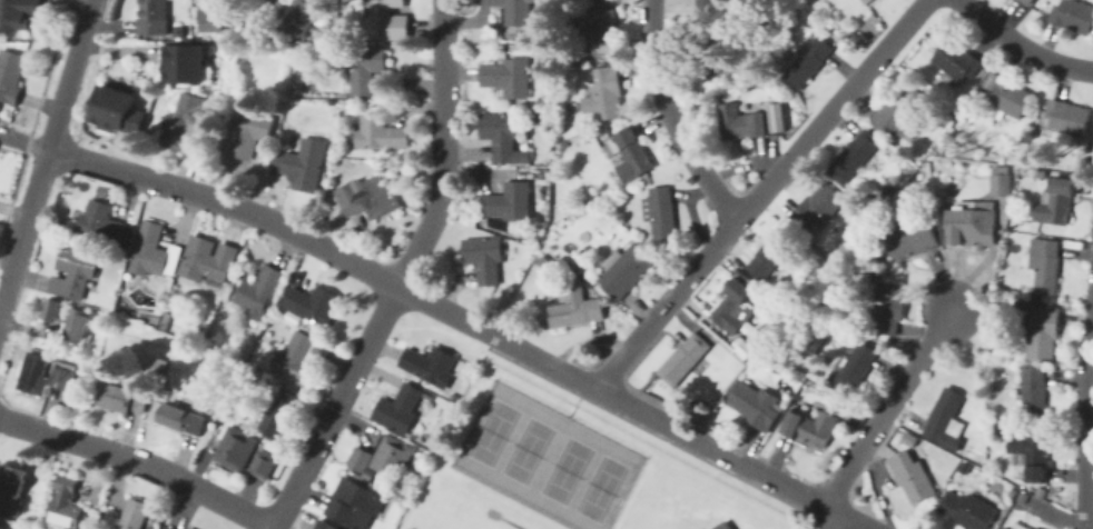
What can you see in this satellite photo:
building: (867, 1)
building: (1027, 1)
building: (707, 4)
building: (516, 11)
building: (19, 12)
building: (385, 14)
building: (217, 16)
building: (1073, 16)
building: (152, 17)
building: (306, 17)
road: (90, 19)
building: (599, 30)
road: (42, 38)
road: (1020, 43)
building: (810, 59)
building: (956, 61)
building: (187, 63)
building: (364, 66)
building: (717, 66)
building: (560, 73)
building: (984, 74)
building: (12, 76)
building: (510, 78)
building: (346, 86)
road: (68, 93)
building: (605, 94)
building: (1007, 97)
building: (545, 101)
building: (118, 109)
building: (900, 109)
building: (792, 116)
building: (1067, 116)
road: (670, 117)
building: (741, 121)
building: (185, 126)
building: (244, 132)
building: (383, 132)
building: (1060, 136)
building: (505, 138)
building: (630, 153)
building: (855, 154)
road: (111, 166)
building: (301, 167)
building: (1001, 184)
road: (758, 191)
building: (368, 197)
building: (1055, 201)
building: (510, 203)
building: (817, 208)
building: (660, 212)
building: (104, 222)
road: (286, 227)
building: (972, 227)
road: (26, 236)
building: (908, 241)
building: (154, 250)
building: (516, 250)
building: (772, 252)
building: (484, 257)
building: (207, 259)
building: (541, 260)
building: (879, 260)
building: (575, 269)
building: (1043, 269)
building: (623, 270)
building: (73, 271)
road: (400, 276)
building: (260, 293)
building: (735, 301)
building: (315, 305)
building: (577, 308)
building: (887, 308)
road: (442, 309)
building: (166, 319)
building: (68, 320)
building: (1042, 331)
building: (208, 341)
building: (747, 348)
building: (683, 358)
building: (303, 359)
building: (433, 367)
building: (855, 368)
building: (698, 369)
building: (62, 372)
building: (799, 379)
building: (1034, 393)
building: (121, 397)
road: (575, 399)
building: (756, 405)
road: (889, 405)
building: (401, 410)
building: (283, 412)
building: (946, 419)
building: (183, 420)
building: (811, 427)
road: (678, 430)
park: (491, 431)
road: (1084, 431)
building: (237, 449)
park: (525, 450)
building: (1031, 456)
road: (139, 459)
building: (265, 465)
park: (564, 470)
building: (912, 476)
building: (371, 482)
park: (599, 488)
building: (14, 489)
building: (66, 505)
building: (966, 510)
building: (136, 513)
park: (500, 516)
road: (835, 521)
park: (460, 522)
building: (327, 525)
building: (719, 526)
building: (3, 527)
building: (174, 527)
building: (1021, 527)
building: (698, 528)
building: (1003, 528)
building: (1034, 528)

